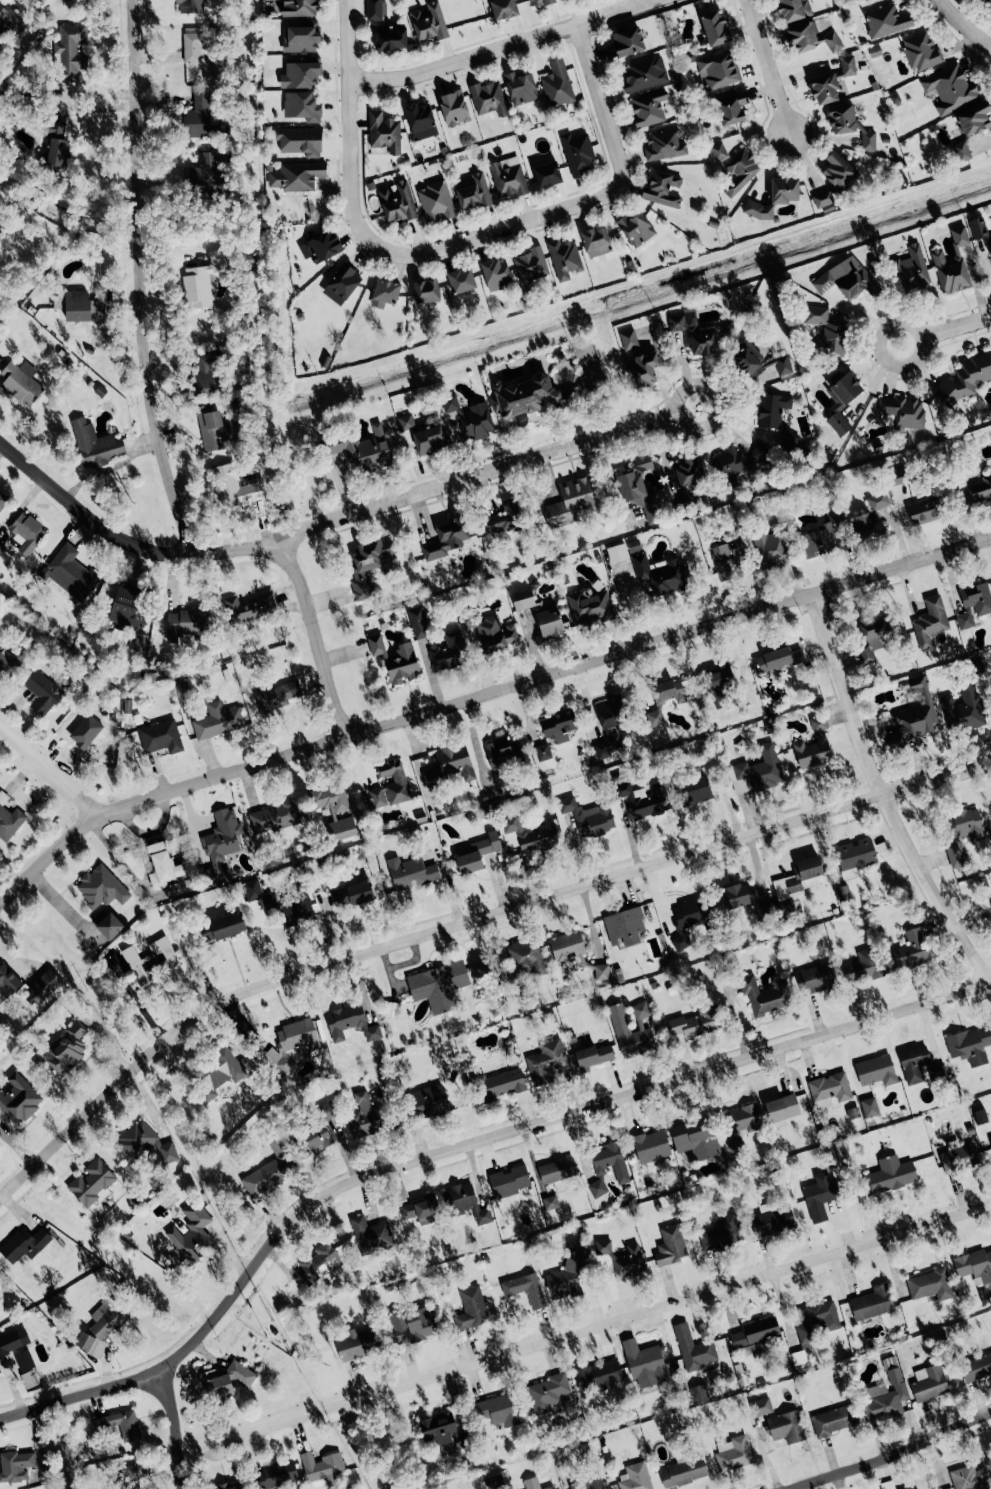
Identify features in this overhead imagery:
building: (539, 2)
building: (987, 2)
building: (190, 6)
building: (299, 8)
building: (503, 8)
building: (376, 9)
building: (793, 9)
building: (10, 20)
building: (887, 20)
building: (429, 22)
road: (963, 25)
building: (715, 28)
building: (301, 37)
building: (811, 37)
building: (390, 38)
building: (627, 41)
building: (193, 46)
road: (501, 48)
building: (70, 51)
building: (921, 51)
building: (847, 65)
road: (767, 67)
building: (718, 70)
building: (299, 74)
building: (644, 74)
building: (557, 84)
building: (520, 88)
building: (824, 88)
building: (950, 88)
building: (488, 98)
road: (598, 103)
building: (302, 106)
building: (454, 107)
building: (731, 107)
building: (648, 108)
building: (198, 116)
building: (420, 119)
building: (970, 126)
road: (350, 128)
building: (384, 132)
building: (299, 140)
building: (57, 145)
building: (665, 145)
building: (718, 151)
building: (577, 153)
building: (206, 170)
building: (740, 171)
building: (547, 174)
building: (296, 175)
building: (834, 180)
building: (663, 189)
building: (784, 189)
building: (474, 192)
building: (435, 201)
building: (397, 202)
building: (977, 227)
building: (635, 228)
road: (501, 229)
building: (959, 235)
building: (596, 241)
building: (321, 246)
building: (990, 246)
building: (564, 258)
building: (530, 267)
building: (911, 269)
building: (949, 272)
building: (496, 274)
road: (144, 280)
building: (201, 280)
building: (461, 280)
building: (824, 281)
building: (341, 284)
building: (856, 284)
building: (426, 291)
building: (384, 292)
building: (82, 306)
road: (955, 326)
building: (826, 332)
building: (692, 333)
building: (628, 339)
road: (920, 348)
building: (759, 359)
building: (644, 368)
building: (203, 373)
building: (965, 379)
building: (20, 384)
road: (678, 395)
building: (525, 398)
building: (841, 401)
building: (903, 411)
building: (470, 417)
building: (777, 418)
building: (406, 422)
building: (216, 428)
building: (428, 439)
building: (95, 444)
building: (364, 451)
building: (738, 463)
road: (113, 466)
building: (687, 472)
road: (477, 473)
building: (897, 476)
building: (640, 490)
building: (978, 490)
building: (3, 500)
building: (569, 503)
building: (925, 510)
building: (871, 516)
building: (503, 518)
building: (27, 531)
building: (821, 536)
building: (447, 538)
road: (124, 542)
building: (1, 548)
building: (771, 549)
building: (617, 552)
building: (727, 558)
building: (368, 564)
building: (71, 574)
building: (659, 575)
building: (523, 600)
building: (129, 604)
building: (974, 604)
building: (249, 607)
building: (589, 607)
building: (930, 621)
building: (418, 622)
building: (186, 623)
building: (549, 623)
building: (493, 632)
building: (873, 633)
road: (316, 639)
building: (141, 642)
building: (449, 651)
building: (778, 658)
building: (396, 659)
building: (9, 660)
building: (975, 665)
building: (717, 684)
building: (44, 691)
building: (184, 694)
building: (276, 697)
building: (664, 699)
road: (480, 700)
building: (962, 708)
building: (611, 712)
building: (914, 714)
building: (217, 720)
building: (558, 726)
building: (86, 736)
building: (160, 737)
building: (814, 745)
building: (607, 746)
building: (502, 751)
building: (541, 752)
building: (447, 767)
building: (758, 770)
road: (47, 783)
building: (390, 785)
building: (693, 790)
road: (882, 798)
building: (644, 799)
building: (335, 810)
building: (989, 810)
building: (273, 816)
building: (588, 816)
building: (9, 820)
building: (962, 833)
building: (531, 834)
building: (220, 846)
building: (477, 853)
building: (856, 854)
building: (163, 865)
building: (410, 871)
building: (798, 877)
building: (101, 887)
building: (180, 887)
building: (843, 893)
building: (352, 894)
building: (990, 901)
building: (278, 903)
building: (689, 917)
building: (107, 924)
road: (463, 924)
building: (224, 926)
building: (624, 926)
building: (567, 946)
building: (910, 950)
building: (528, 956)
building: (151, 959)
building: (862, 965)
building: (601, 972)
building: (816, 978)
building: (8, 981)
building: (438, 985)
building: (42, 987)
building: (765, 994)
building: (695, 1022)
building: (349, 1023)
building: (621, 1029)
building: (293, 1043)
building: (969, 1045)
building: (66, 1049)
building: (594, 1055)
building: (918, 1064)
building: (876, 1070)
building: (218, 1073)
building: (498, 1084)
building: (830, 1087)
building: (19, 1099)
building: (428, 1101)
building: (869, 1106)
building: (782, 1107)
building: (328, 1110)
building: (852, 1112)
building: (363, 1116)
building: (979, 1116)
building: (742, 1119)
building: (317, 1137)
building: (695, 1138)
building: (989, 1140)
building: (144, 1143)
building: (651, 1145)
road: (461, 1148)
building: (958, 1156)
building: (270, 1169)
building: (557, 1170)
building: (621, 1174)
building: (889, 1175)
building: (509, 1181)
building: (92, 1183)
building: (820, 1196)
building: (468, 1202)
building: (550, 1202)
building: (421, 1209)
building: (772, 1221)
building: (191, 1231)
building: (721, 1232)
building: (371, 1233)
building: (24, 1244)
building: (670, 1244)
building: (603, 1246)
building: (318, 1261)
building: (629, 1261)
building: (974, 1266)
building: (568, 1272)
building: (930, 1284)
building: (525, 1289)
building: (872, 1302)
building: (471, 1308)
building: (816, 1322)
building: (412, 1324)
building: (102, 1326)
road: (582, 1329)
building: (755, 1331)
building: (14, 1341)
building: (355, 1343)
building: (753, 1348)
building: (695, 1352)
building: (26, 1359)
building: (644, 1364)
building: (976, 1367)
building: (598, 1374)
building: (894, 1375)
building: (29, 1378)
building: (228, 1379)
building: (929, 1383)
building: (547, 1392)
building: (699, 1393)
building: (881, 1403)
building: (761, 1406)
building: (498, 1410)
building: (833, 1420)
building: (124, 1424)
building: (786, 1426)
road: (172, 1429)
building: (443, 1430)
building: (733, 1454)
road: (888, 1456)
building: (15, 1465)
building: (322, 1467)
building: (683, 1472)
building: (129, 1473)
building: (276, 1475)
building: (635, 1477)
building: (969, 1478)
building: (534, 1484)
building: (589, 1484)
building: (227, 1485)
building: (911, 1487)

